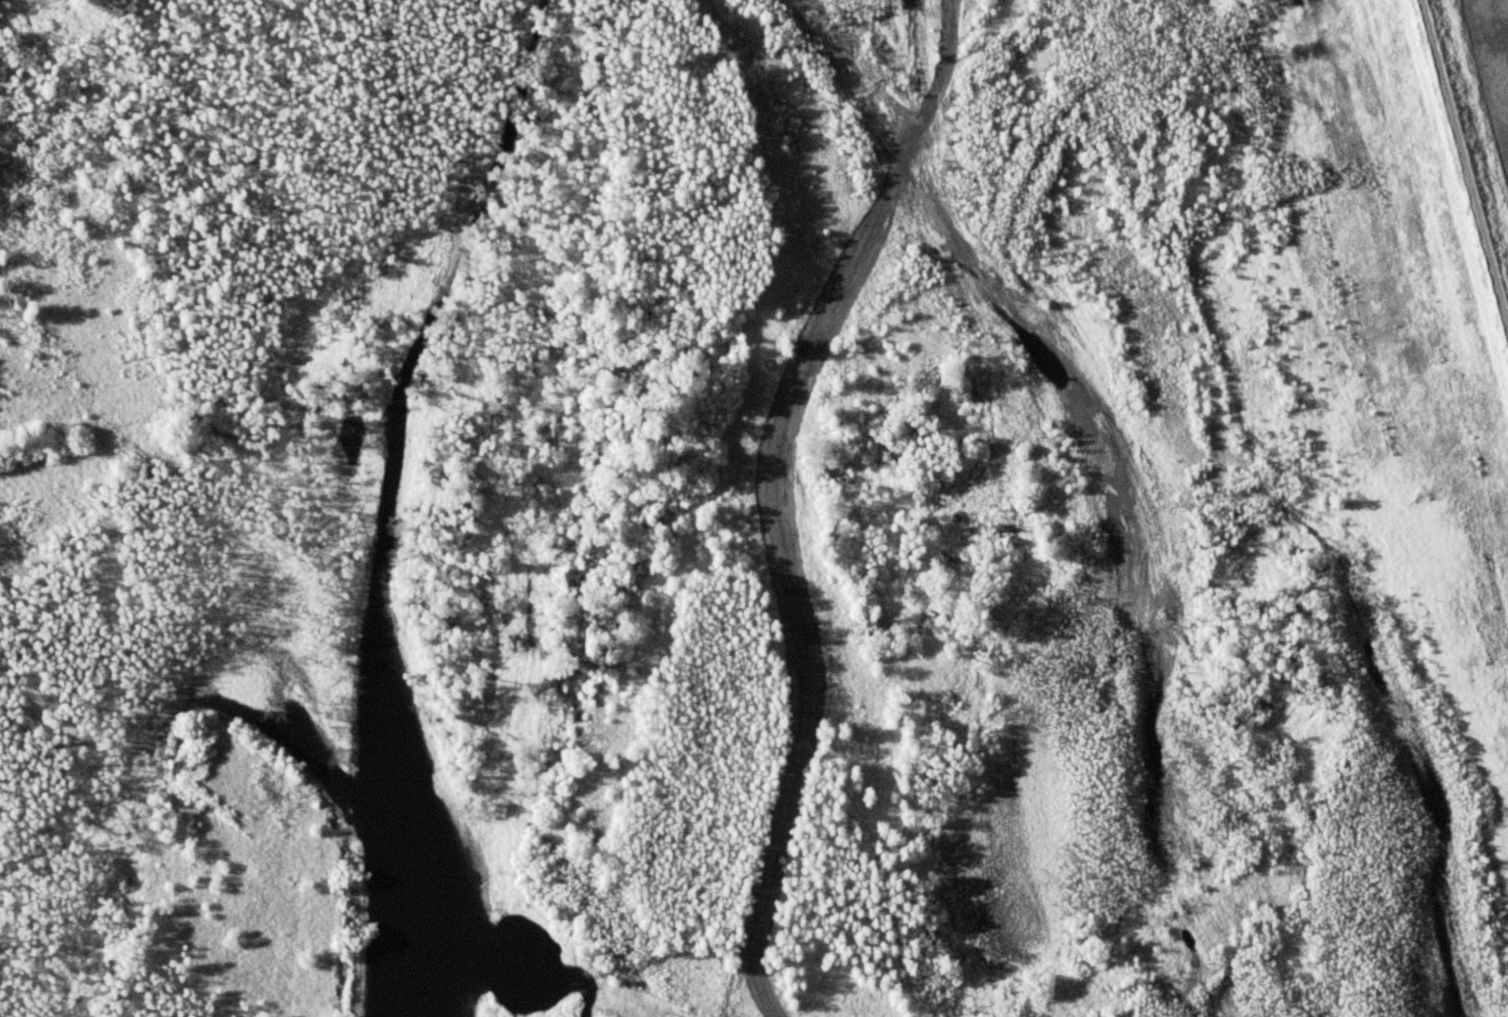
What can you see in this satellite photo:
road: (1464, 164)

